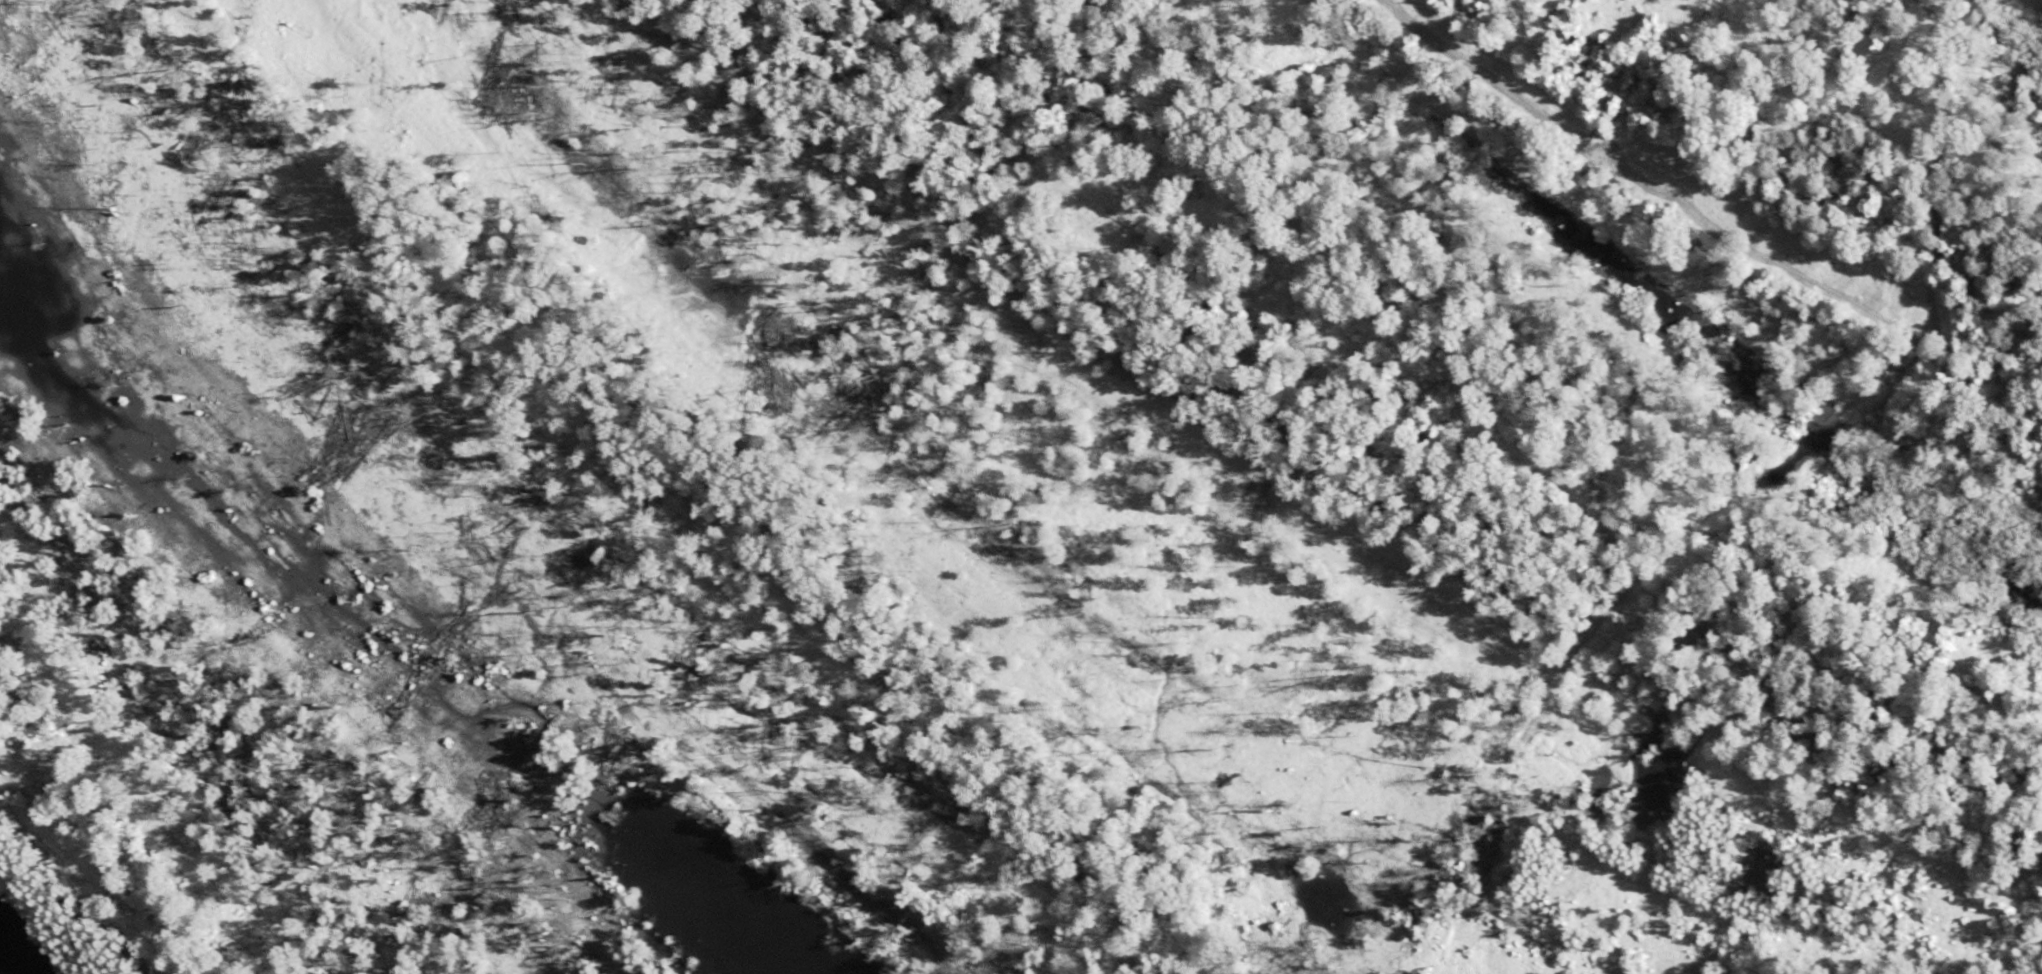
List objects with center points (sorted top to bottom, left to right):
road: (1681, 230)
road: (1736, 488)
road: (1187, 964)

